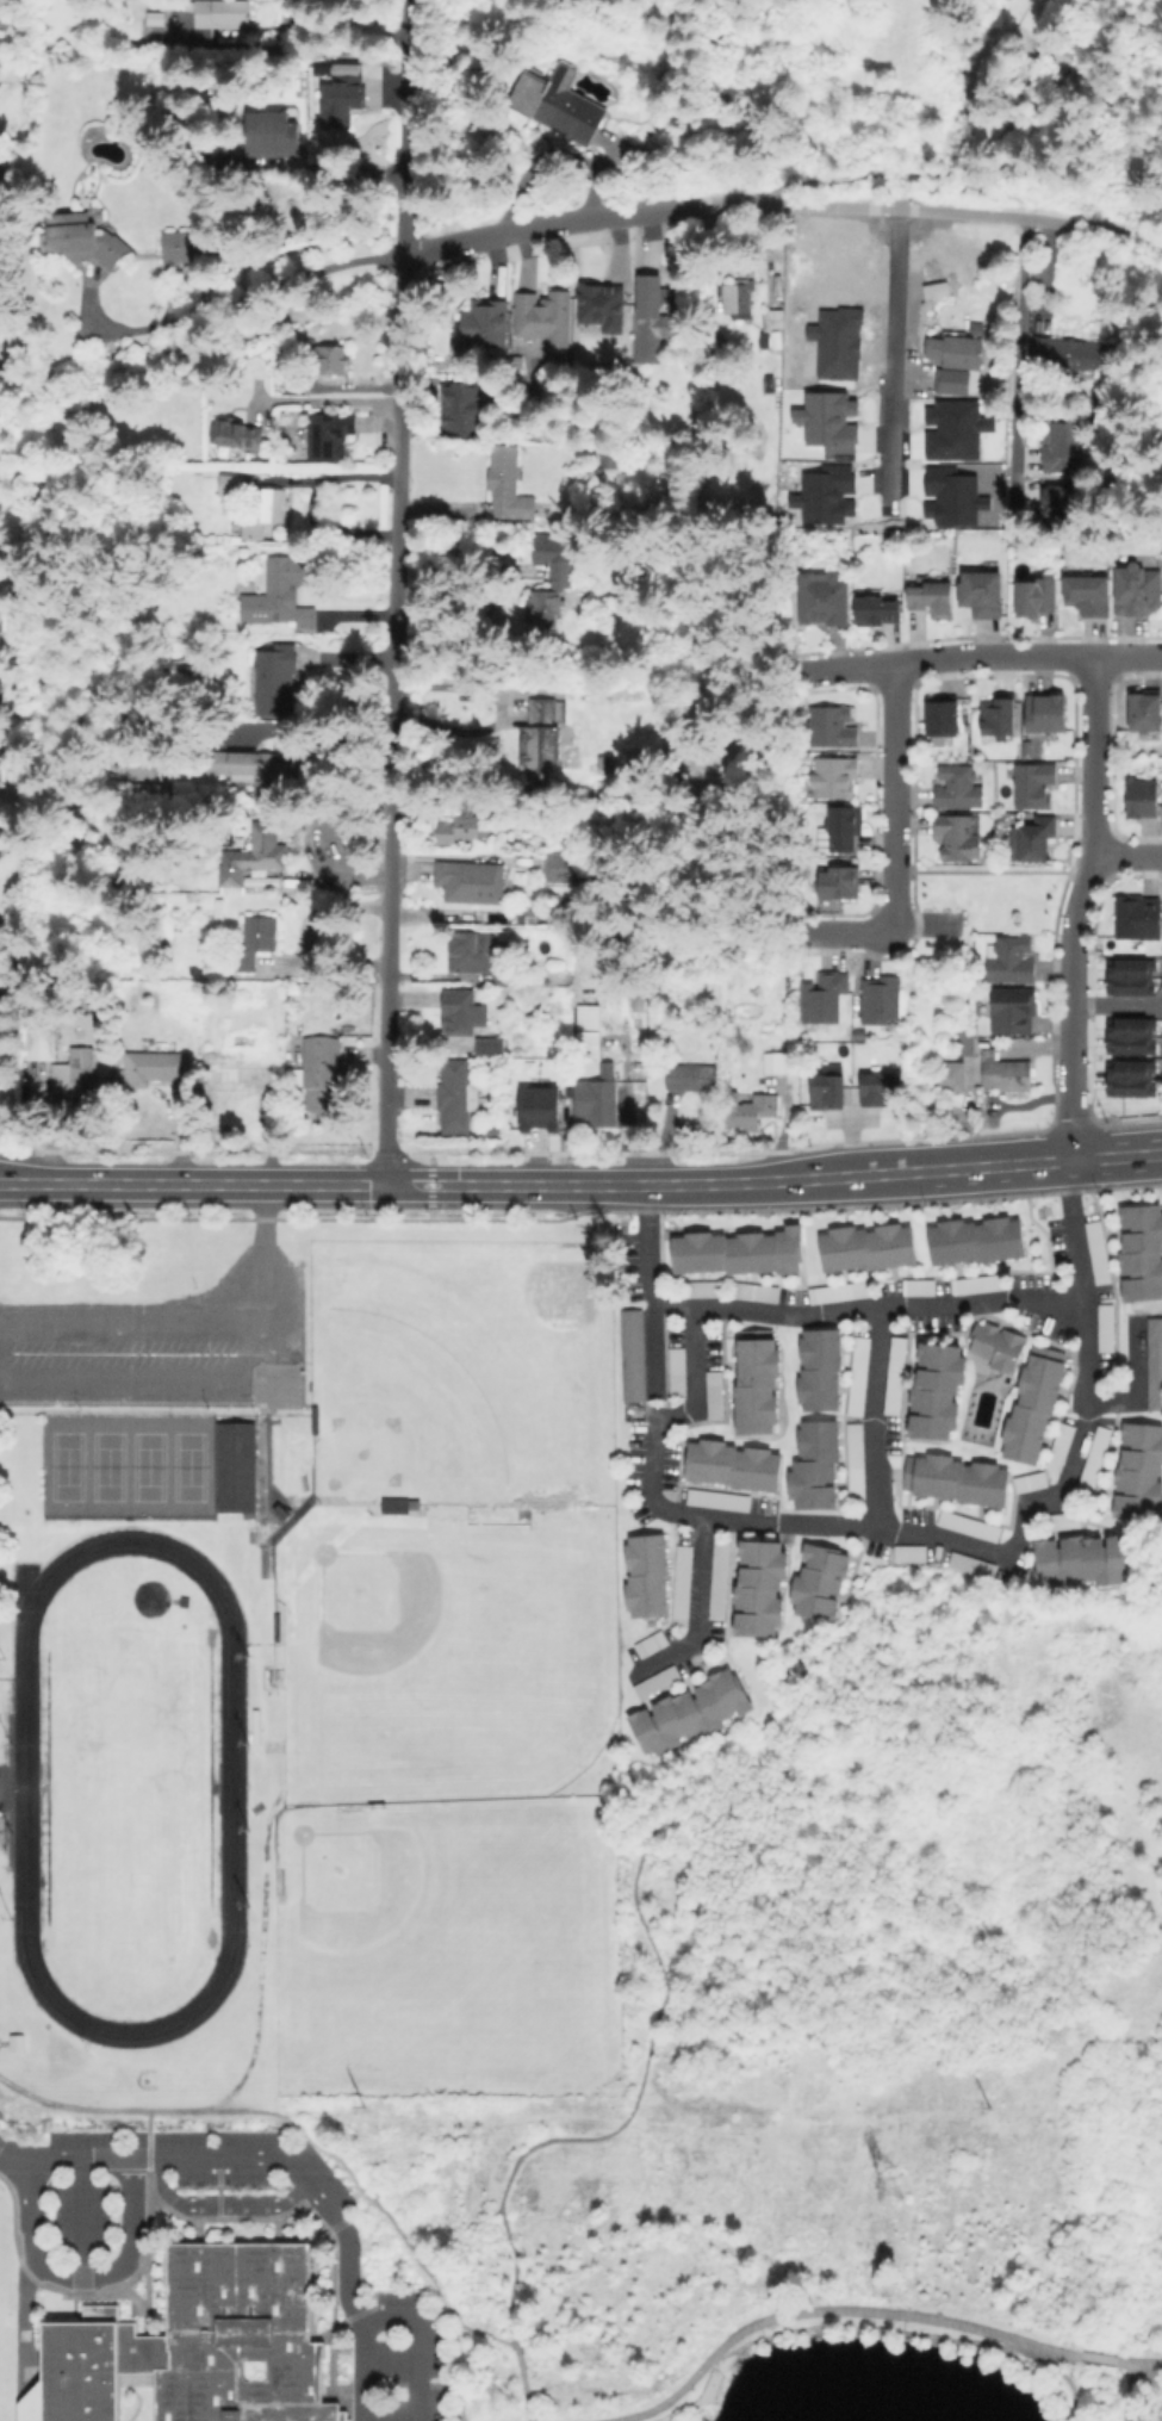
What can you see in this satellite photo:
building: (1052, 0)
building: (219, 17)
building: (1062, 64)
building: (727, 88)
building: (559, 105)
building: (343, 106)
building: (275, 137)
road: (584, 221)
building: (80, 237)
building: (176, 246)
building: (933, 288)
building: (739, 299)
building: (603, 306)
building: (545, 316)
building: (653, 316)
building: (773, 317)
building: (481, 323)
building: (955, 349)
building: (1073, 350)
road: (897, 353)
road: (1017, 358)
building: (336, 359)
road: (330, 399)
building: (460, 410)
railway: (18, 415)
building: (238, 434)
building: (329, 434)
building: (1062, 446)
building: (508, 483)
building: (229, 486)
building: (273, 503)
building: (1058, 505)
building: (0, 544)
building: (552, 576)
building: (1139, 589)
road: (396, 592)
building: (282, 594)
building: (982, 594)
building: (1086, 595)
building: (1038, 597)
building: (826, 600)
building: (933, 600)
building: (877, 612)
road: (977, 654)
building: (280, 678)
building: (1, 687)
road: (512, 709)
building: (1147, 710)
building: (1050, 713)
building: (943, 715)
building: (998, 718)
building: (832, 727)
building: (542, 740)
road: (317, 744)
building: (611, 764)
building: (249, 765)
building: (835, 777)
building: (1032, 786)
building: (958, 788)
building: (139, 794)
road: (896, 797)
building: (1143, 799)
building: (458, 828)
building: (844, 828)
building: (957, 837)
building: (1033, 839)
building: (0, 852)
building: (255, 855)
road: (1127, 855)
building: (566, 868)
building: (472, 882)
building: (838, 884)
road: (1083, 908)
building: (527, 914)
building: (1137, 918)
building: (0, 921)
road: (844, 935)
road: (303, 939)
building: (259, 941)
building: (474, 952)
building: (1011, 961)
building: (1127, 975)
building: (187, 992)
building: (825, 1000)
building: (881, 1001)
road: (1117, 1004)
building: (462, 1010)
building: (1013, 1011)
building: (192, 1023)
building: (588, 1025)
building: (859, 1035)
building: (1127, 1035)
building: (962, 1041)
building: (43, 1044)
building: (487, 1047)
building: (773, 1063)
building: (156, 1066)
building: (323, 1070)
building: (75, 1072)
building: (243, 1072)
building: (1006, 1073)
building: (959, 1075)
building: (691, 1078)
building: (1126, 1078)
building: (826, 1088)
building: (874, 1088)
building: (456, 1097)
building: (594, 1107)
building: (751, 1110)
building: (541, 1112)
road: (1116, 1157)
road: (915, 1172)
road: (380, 1185)
building: (974, 1240)
building: (864, 1247)
building: (737, 1250)
building: (1139, 1250)
building: (1094, 1252)
building: (978, 1283)
building: (915, 1286)
building: (701, 1287)
building: (751, 1290)
building: (837, 1291)
road: (785, 1310)
road: (142, 1320)
road: (880, 1327)
building: (1102, 1327)
building: (994, 1345)
building: (1044, 1352)
building: (629, 1354)
park: (464, 1364)
building: (1152, 1364)
road: (691, 1368)
building: (816, 1368)
building: (673, 1371)
building: (893, 1374)
building: (856, 1376)
road: (242, 1380)
building: (754, 1382)
building: (934, 1389)
building: (712, 1393)
building: (1030, 1408)
building: (1057, 1446)
building: (1092, 1455)
building: (852, 1460)
park: (126, 1461)
building: (731, 1464)
building: (813, 1464)
building: (232, 1465)
building: (1137, 1470)
building: (953, 1478)
building: (1027, 1480)
road: (1048, 1496)
building: (715, 1498)
building: (398, 1504)
building: (1061, 1519)
building: (965, 1525)
building: (907, 1552)
building: (1080, 1558)
building: (969, 1564)
building: (644, 1573)
building: (716, 1578)
building: (816, 1581)
building: (679, 1583)
building: (758, 1588)
road: (694, 1612)
building: (648, 1643)
park: (459, 1671)
building: (654, 1681)
building: (686, 1712)
track: (234, 1784)
park: (126, 1787)
park: (392, 1918)
park: (874, 2067)
road: (639, 2079)
power tower: (988, 2104)
power tower: (374, 2105)
road: (104, 2109)
road: (147, 2130)
road: (305, 2179)
power tower: (887, 2185)
road: (359, 2186)
road: (218, 2202)
road: (76, 2215)
road: (80, 2274)
road: (809, 2311)
road: (486, 2335)
building: (194, 2344)
road: (1093, 2357)
road: (358, 2367)
road: (456, 2373)
road: (1061, 2376)
road: (1130, 2391)

